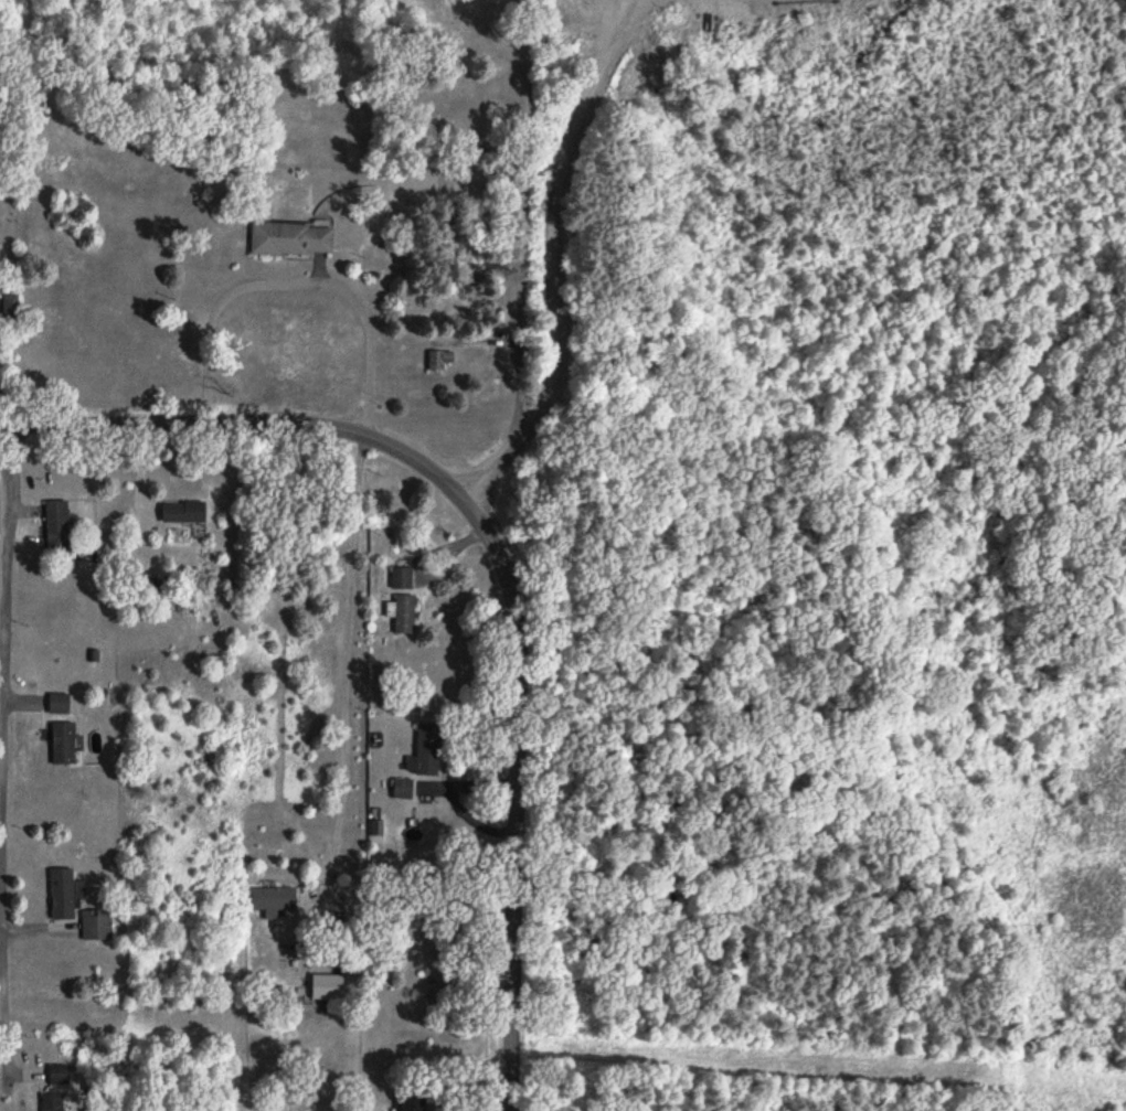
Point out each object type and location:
building: (721, 17)
road: (520, 239)
building: (294, 242)
road: (564, 252)
road: (299, 282)
building: (12, 309)
building: (440, 361)
road: (241, 423)
building: (184, 513)
building: (57, 526)
building: (402, 578)
building: (404, 615)
road: (347, 660)
building: (61, 704)
road: (4, 744)
building: (65, 744)
building: (429, 749)
building: (403, 790)
road: (516, 797)
road: (453, 798)
building: (64, 896)
building: (274, 901)
building: (97, 926)
building: (328, 987)
building: (60, 1076)
building: (53, 1102)
building: (417, 1103)

